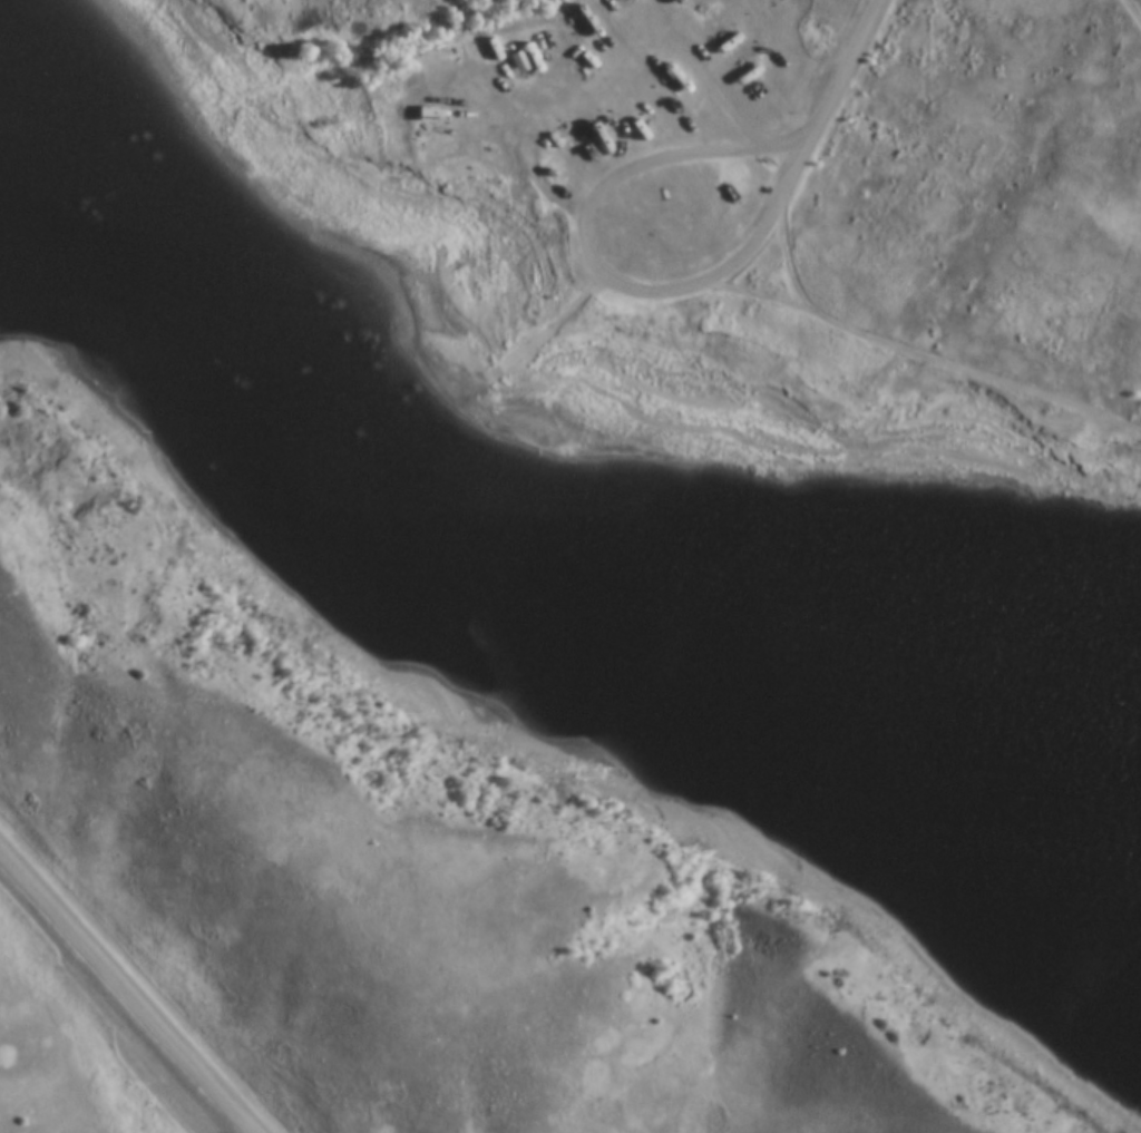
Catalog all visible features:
building: (617, 0)
road: (1139, 1)
building: (599, 8)
building: (516, 62)
road: (849, 62)
road: (597, 266)
road: (583, 307)
road: (526, 353)
road: (128, 988)

